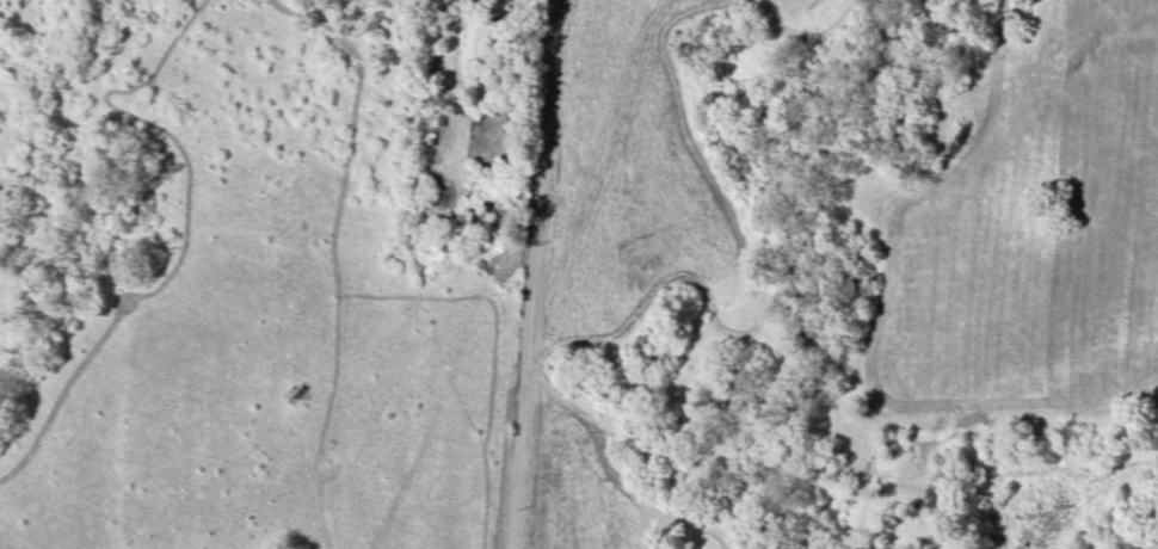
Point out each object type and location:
building: (479, 43)
road: (530, 274)

